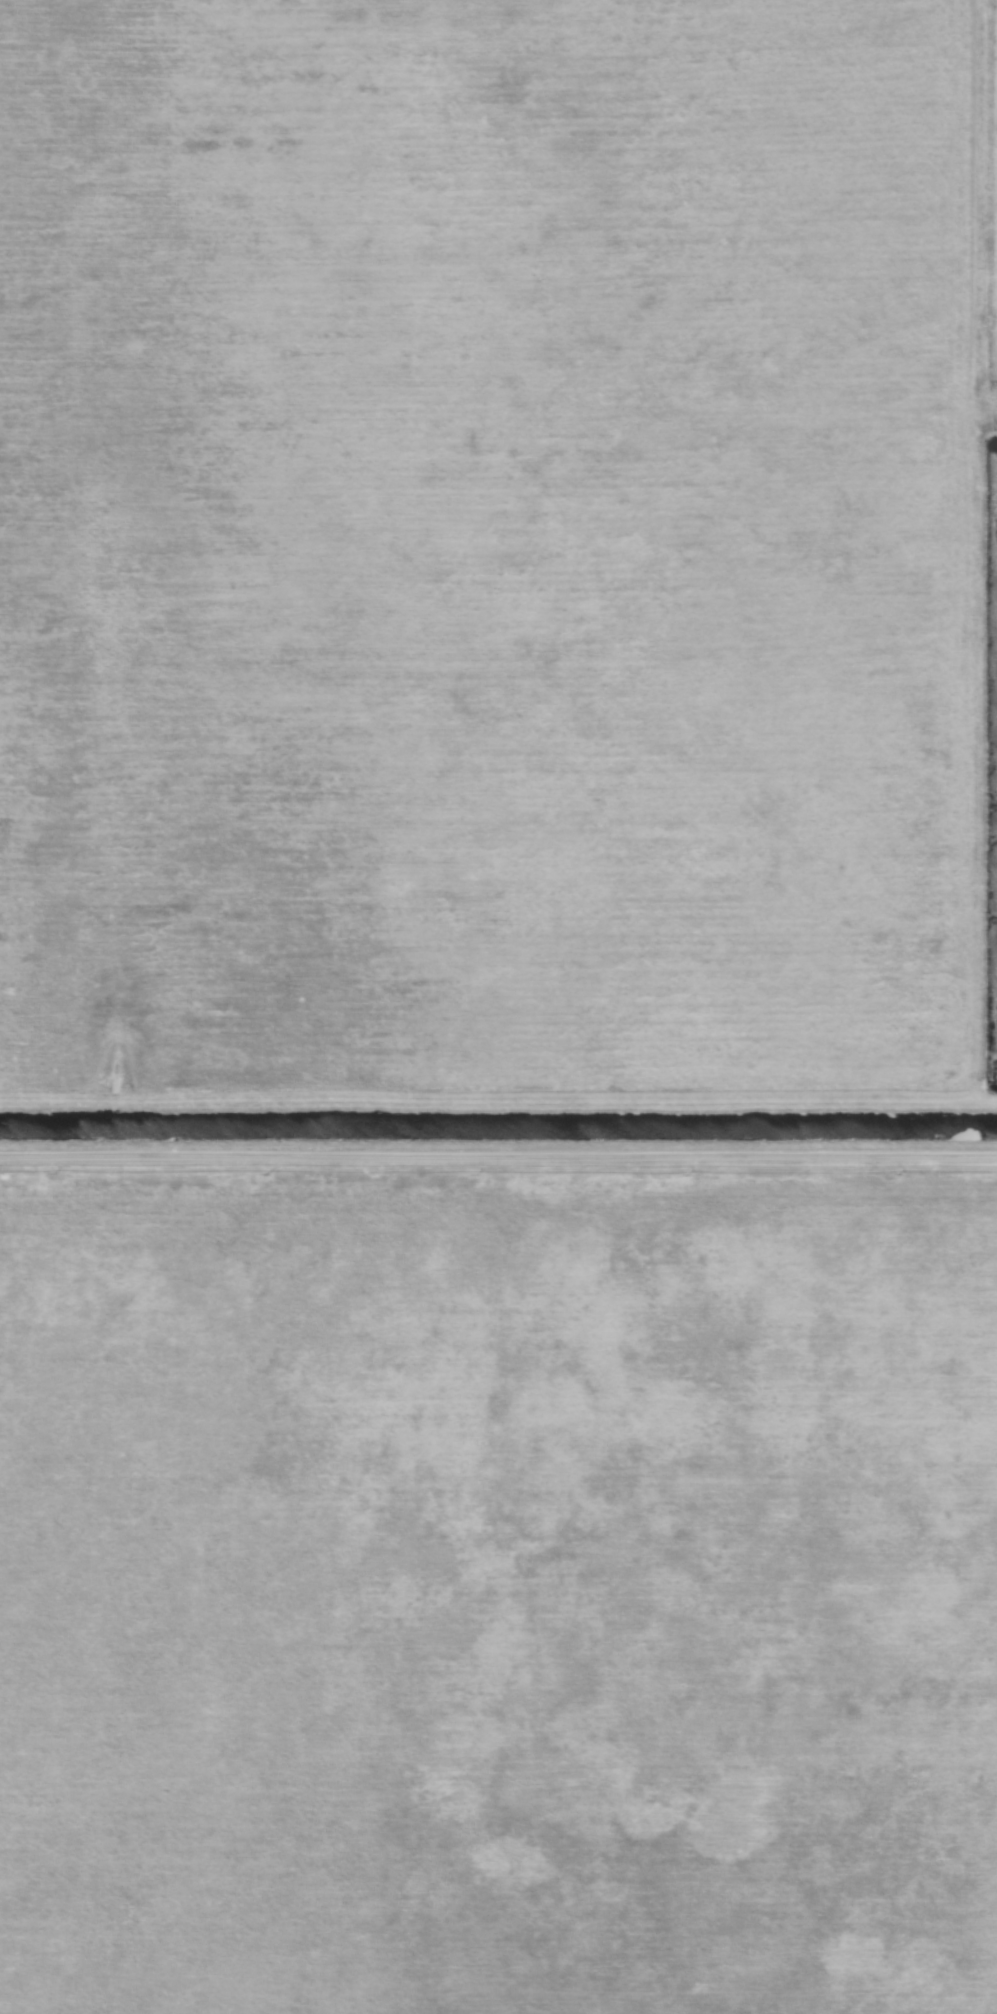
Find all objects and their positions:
crop: (489, 548)

